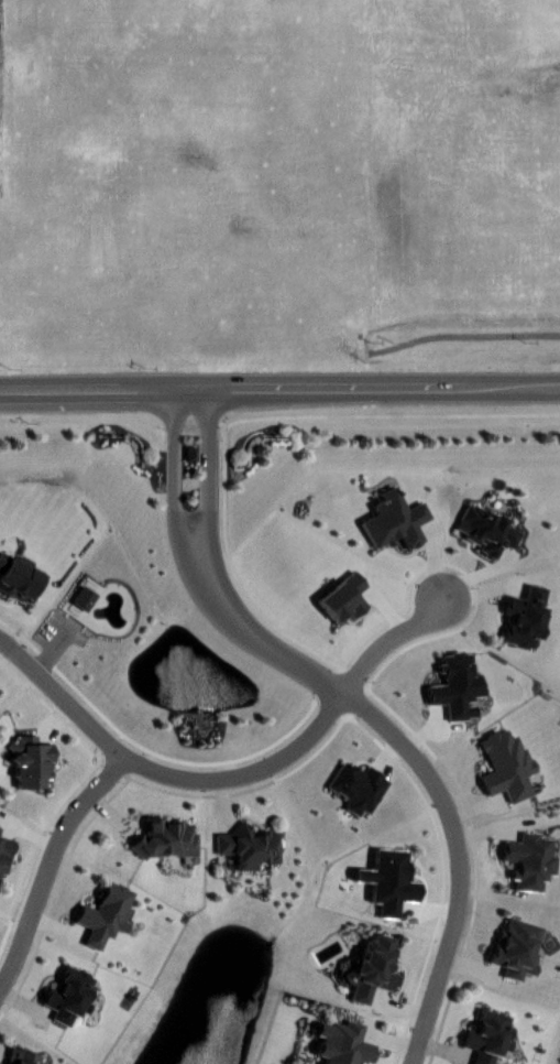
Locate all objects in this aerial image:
road: (464, 333)
road: (279, 386)
road: (371, 413)
building: (193, 469)
building: (396, 536)
building: (487, 546)
road: (233, 572)
building: (19, 593)
building: (87, 614)
building: (345, 614)
building: (525, 632)
building: (457, 702)
road: (363, 704)
building: (30, 777)
road: (234, 777)
building: (506, 781)
building: (360, 802)
building: (0, 844)
building: (166, 855)
building: (250, 862)
road: (50, 864)
building: (6, 869)
building: (530, 876)
building: (391, 897)
building: (106, 930)
building: (516, 964)
building: (372, 984)
building: (70, 1011)
building: (490, 1046)
building: (343, 1051)
building: (11, 1063)

